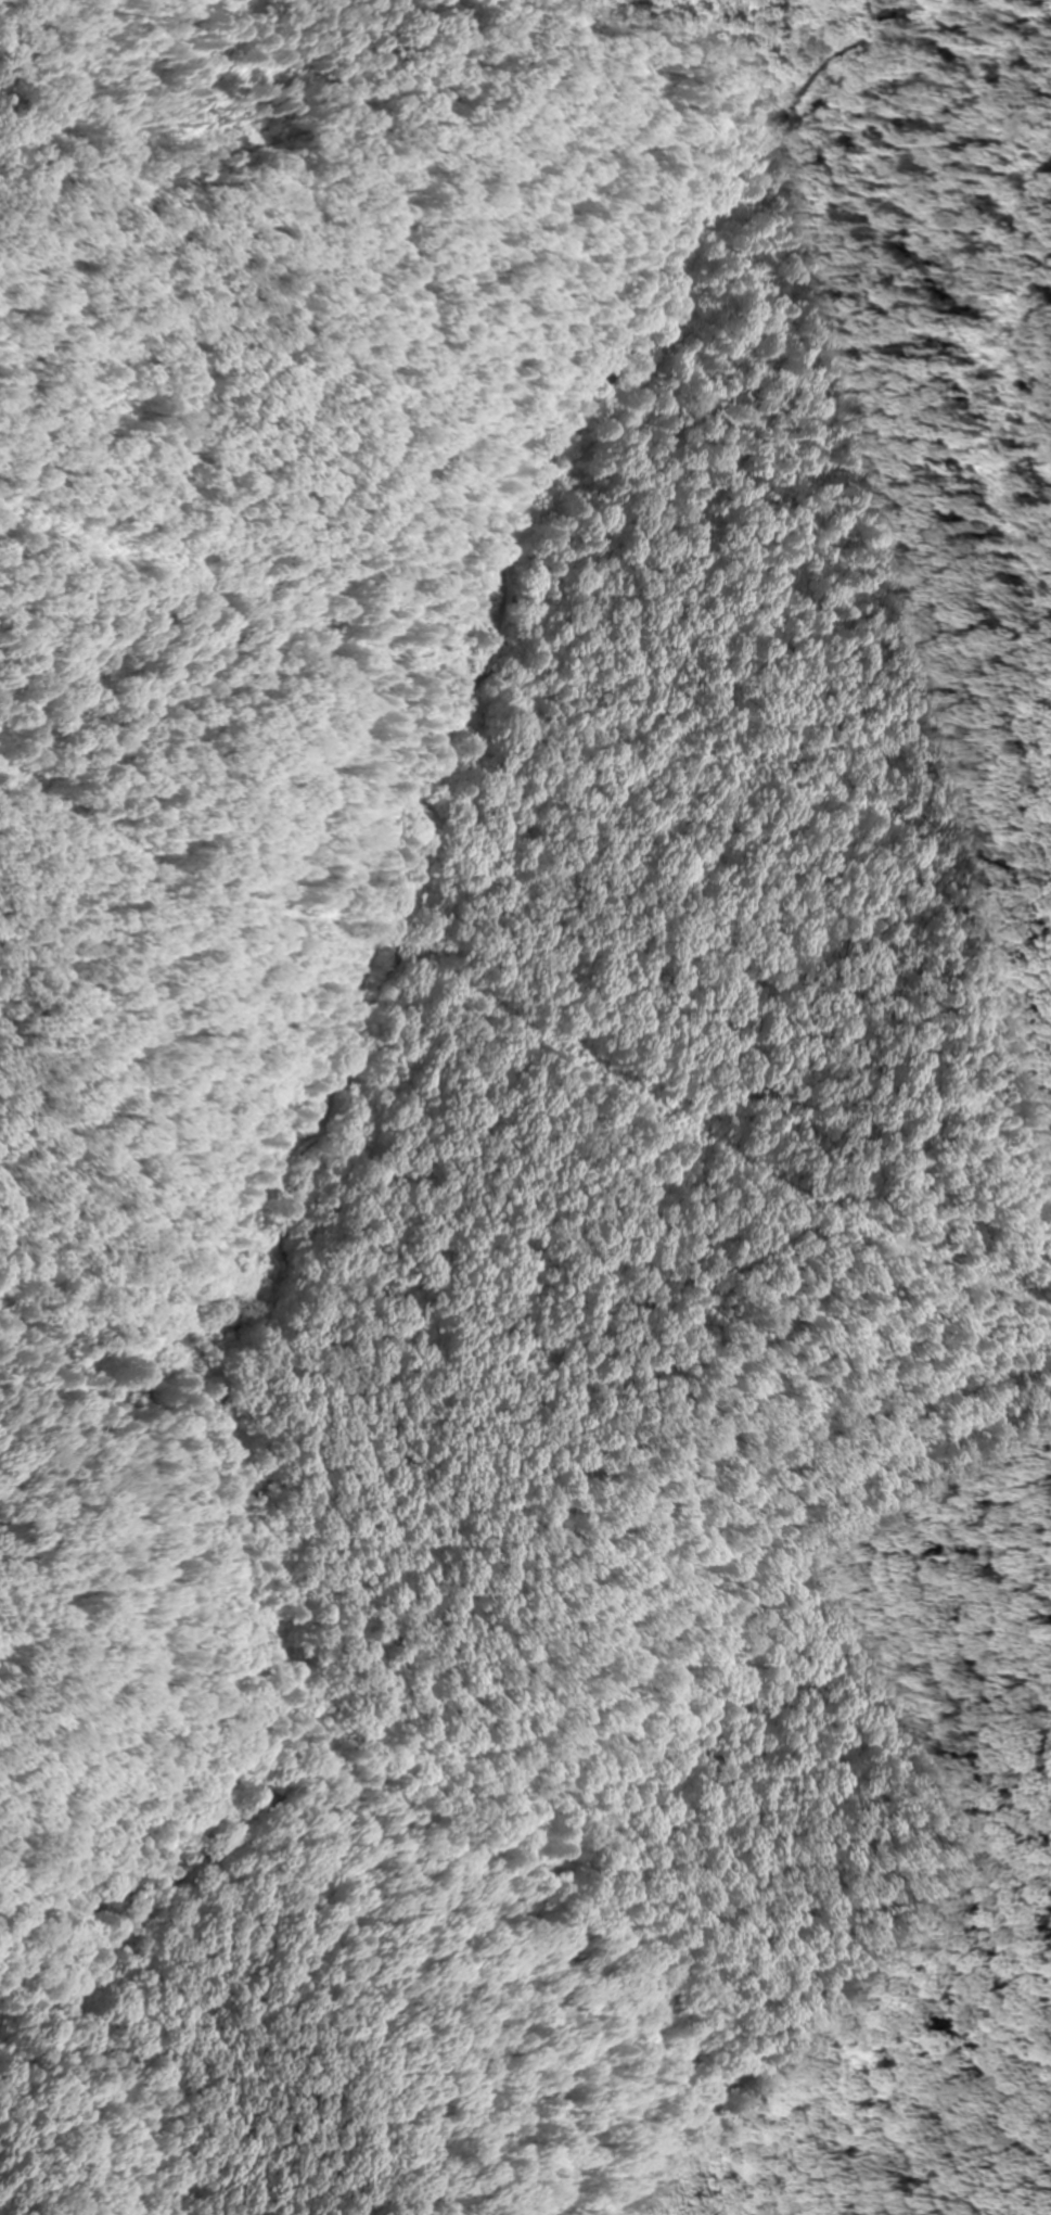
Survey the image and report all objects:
road: (222, 1135)

